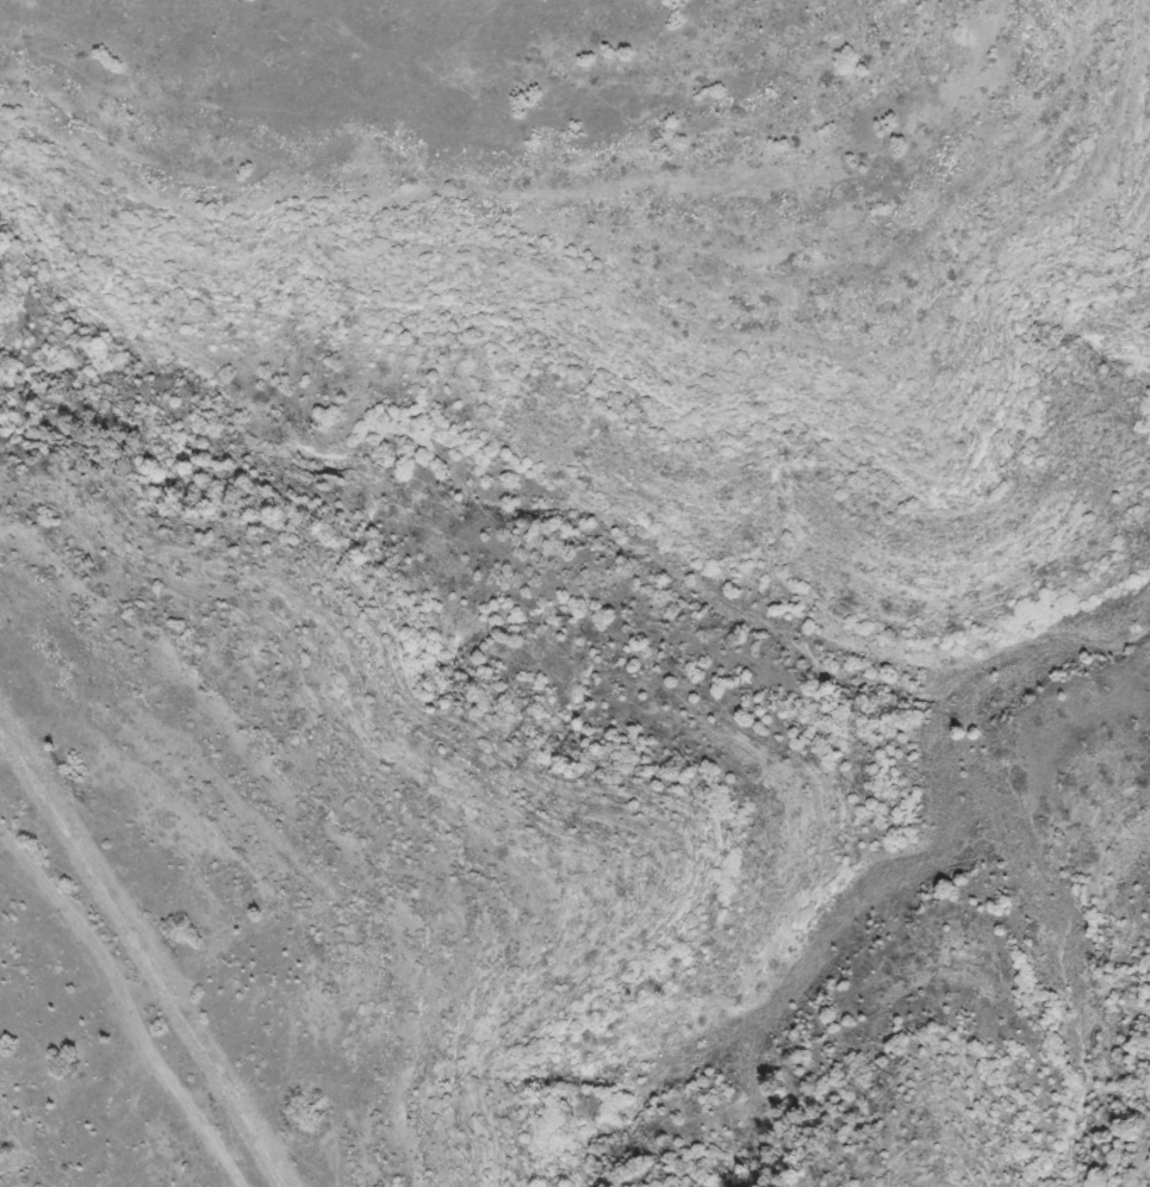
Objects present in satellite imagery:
road: (180, 981)

